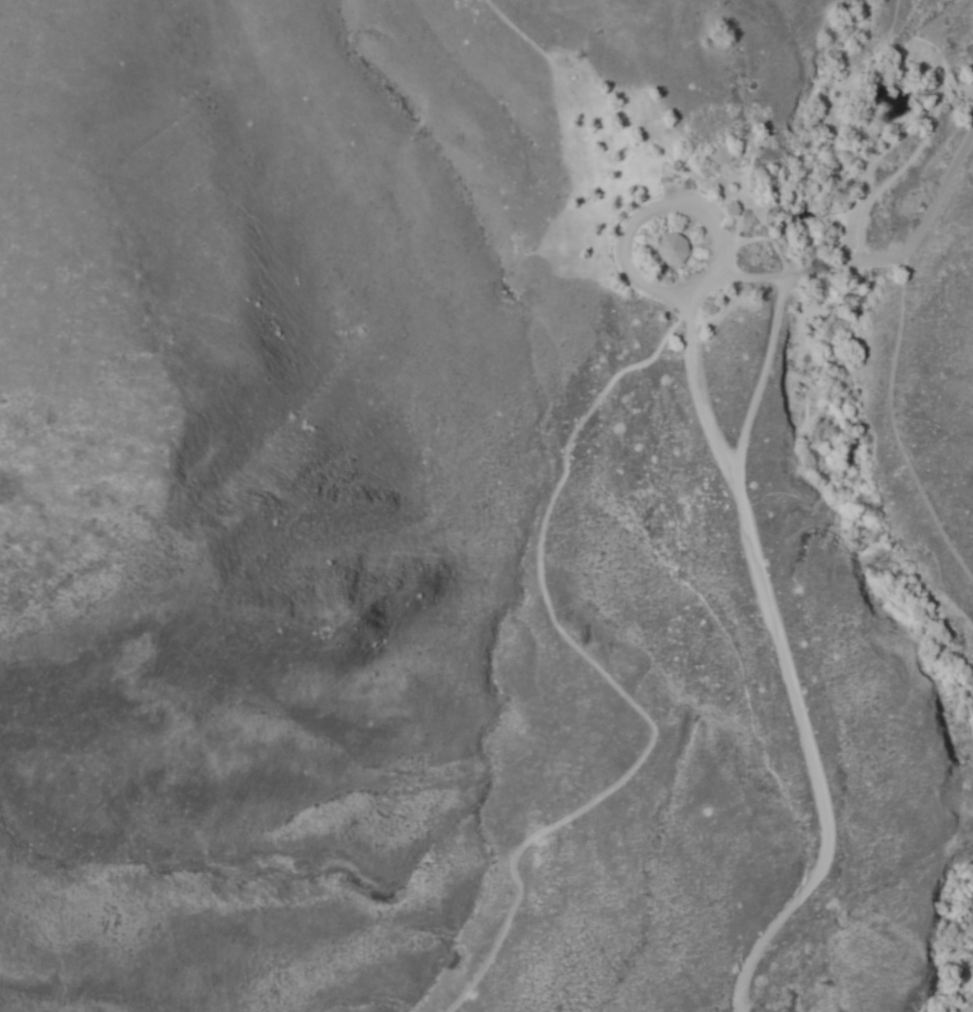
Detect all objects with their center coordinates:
parking lot: (972, 77)
road: (849, 90)
road: (791, 124)
road: (564, 165)
road: (883, 183)
road: (806, 214)
building: (673, 250)
road: (804, 272)
road: (753, 280)
road: (686, 327)
road: (894, 427)
road: (602, 675)
road: (803, 759)

